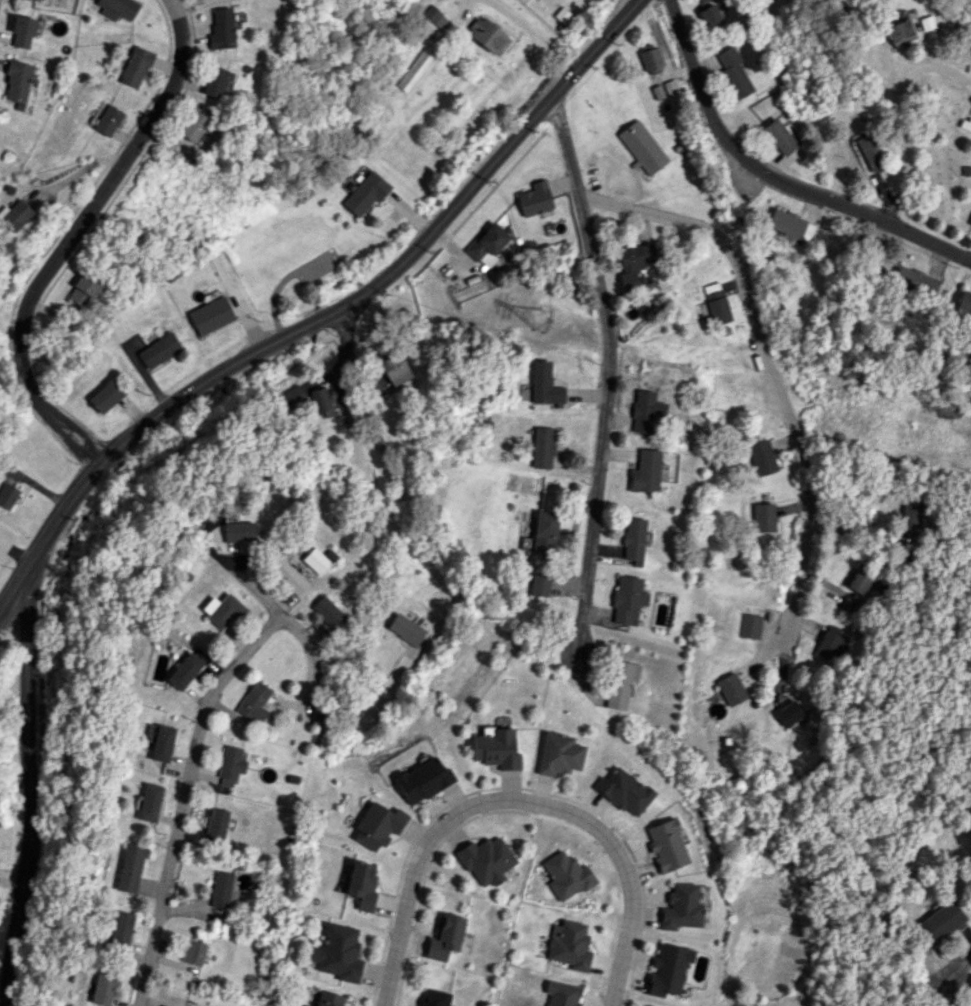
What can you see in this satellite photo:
road: (470, 1)
building: (701, 2)
building: (117, 8)
building: (710, 15)
building: (434, 16)
building: (221, 28)
building: (22, 32)
building: (898, 32)
road: (541, 33)
building: (486, 35)
building: (649, 58)
building: (135, 67)
building: (414, 69)
building: (733, 73)
building: (16, 81)
building: (214, 81)
road: (892, 112)
building: (107, 120)
building: (192, 125)
building: (779, 136)
building: (641, 146)
building: (870, 153)
road: (78, 170)
road: (773, 180)
building: (365, 192)
building: (534, 199)
building: (15, 214)
building: (970, 227)
road: (76, 234)
building: (487, 244)
building: (633, 264)
building: (916, 280)
building: (82, 289)
building: (964, 302)
building: (716, 307)
road: (323, 314)
building: (210, 315)
power tower: (539, 321)
building: (158, 350)
building: (392, 366)
road: (614, 368)
road: (771, 373)
road: (14, 382)
building: (543, 383)
building: (105, 395)
building: (321, 402)
building: (644, 410)
building: (541, 447)
building: (760, 457)
building: (643, 471)
building: (7, 495)
building: (761, 517)
building: (909, 517)
building: (237, 531)
building: (542, 531)
building: (632, 538)
building: (313, 560)
road: (226, 566)
building: (285, 576)
building: (864, 581)
building: (538, 586)
building: (626, 598)
building: (221, 609)
building: (326, 612)
building: (748, 625)
building: (405, 629)
road: (259, 637)
building: (830, 646)
building: (183, 671)
building: (620, 683)
road: (308, 689)
building: (729, 689)
building: (253, 703)
building: (789, 710)
road: (357, 718)
building: (161, 743)
building: (495, 748)
building: (558, 754)
building: (229, 765)
building: (422, 780)
road: (28, 788)
building: (622, 791)
building: (148, 802)
road: (515, 804)
building: (216, 824)
building: (376, 825)
building: (664, 845)
road: (175, 850)
building: (485, 860)
building: (130, 866)
building: (566, 875)
building: (360, 885)
building: (222, 890)
building: (678, 908)
building: (941, 921)
building: (120, 928)
building: (444, 937)
building: (568, 944)
building: (192, 952)
building: (337, 953)
building: (665, 970)
road: (958, 970)
building: (103, 988)
building: (560, 993)
building: (434, 998)
building: (328, 999)
building: (165, 1005)

